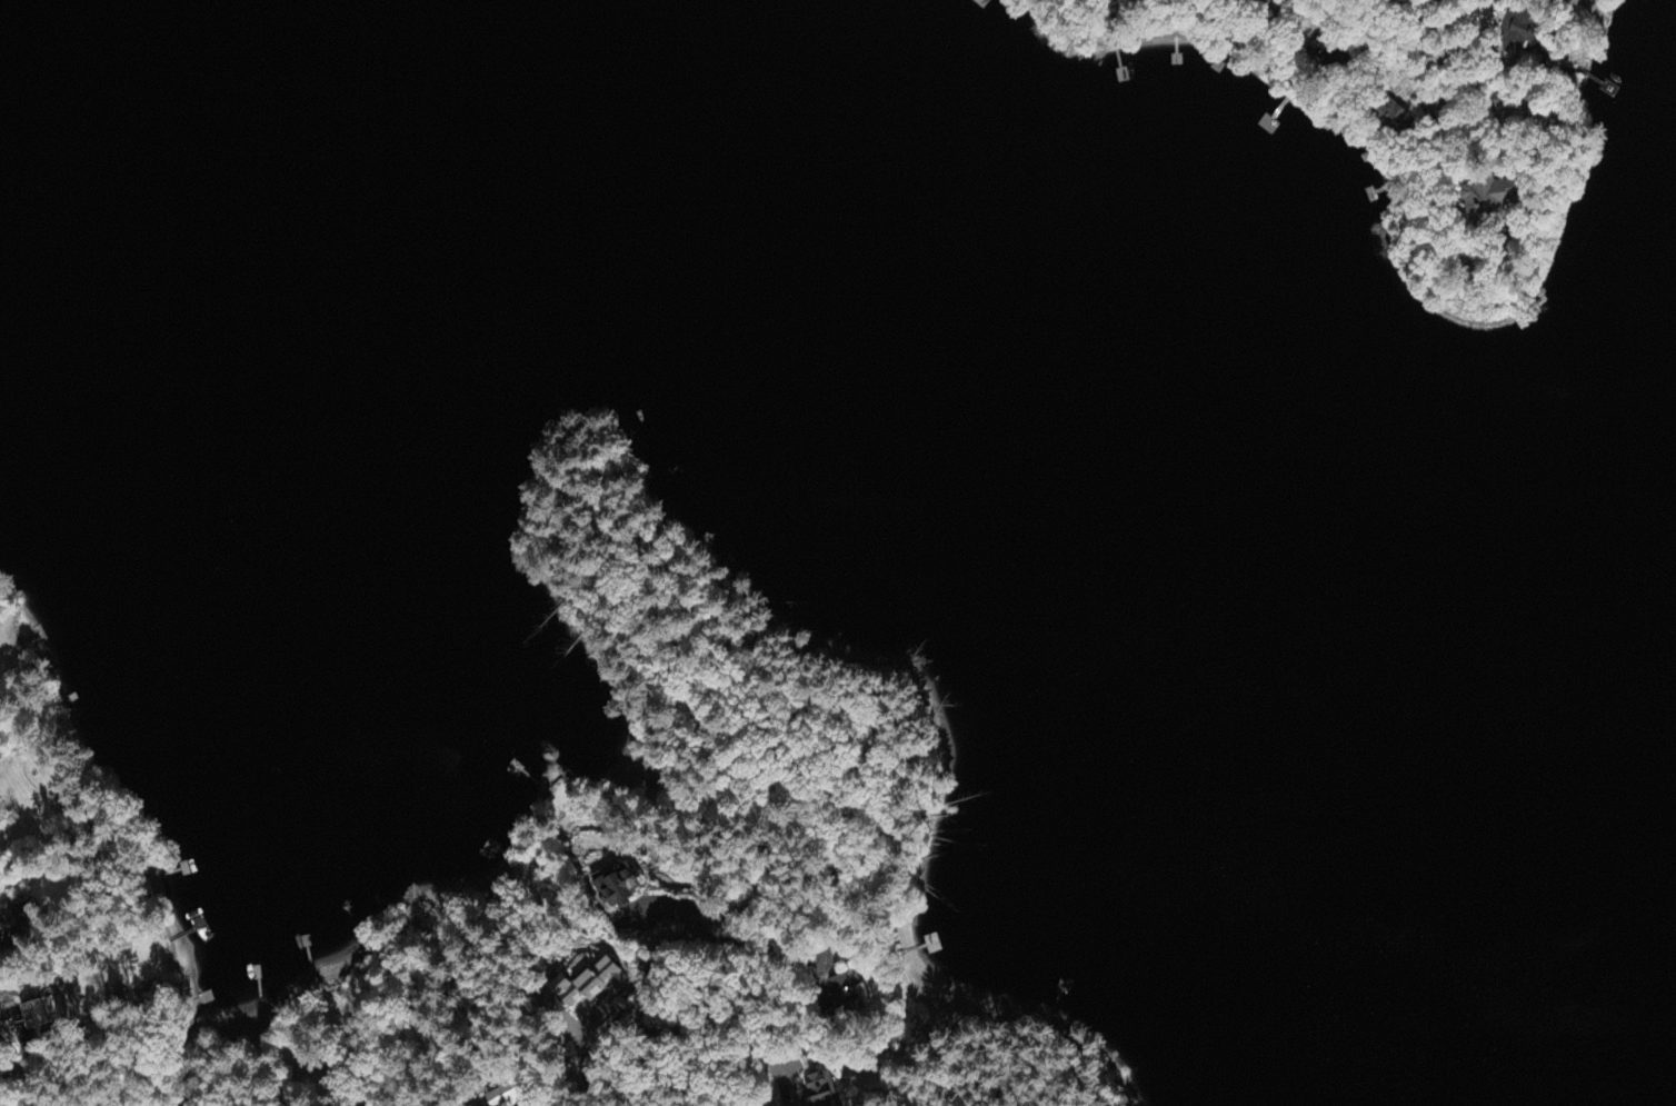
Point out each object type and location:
building: (1114, 0)
building: (1267, 3)
building: (1572, 3)
road: (1414, 8)
road: (1433, 22)
building: (1518, 31)
building: (1324, 52)
road: (1489, 76)
building: (1391, 116)
building: (1493, 198)
river: (1290, 400)
building: (619, 886)
building: (18, 920)
road: (3, 935)
road: (658, 957)
road: (810, 965)
building: (590, 984)
building: (849, 996)
building: (36, 1016)
road: (37, 1068)
building: (821, 1090)
building: (507, 1098)

